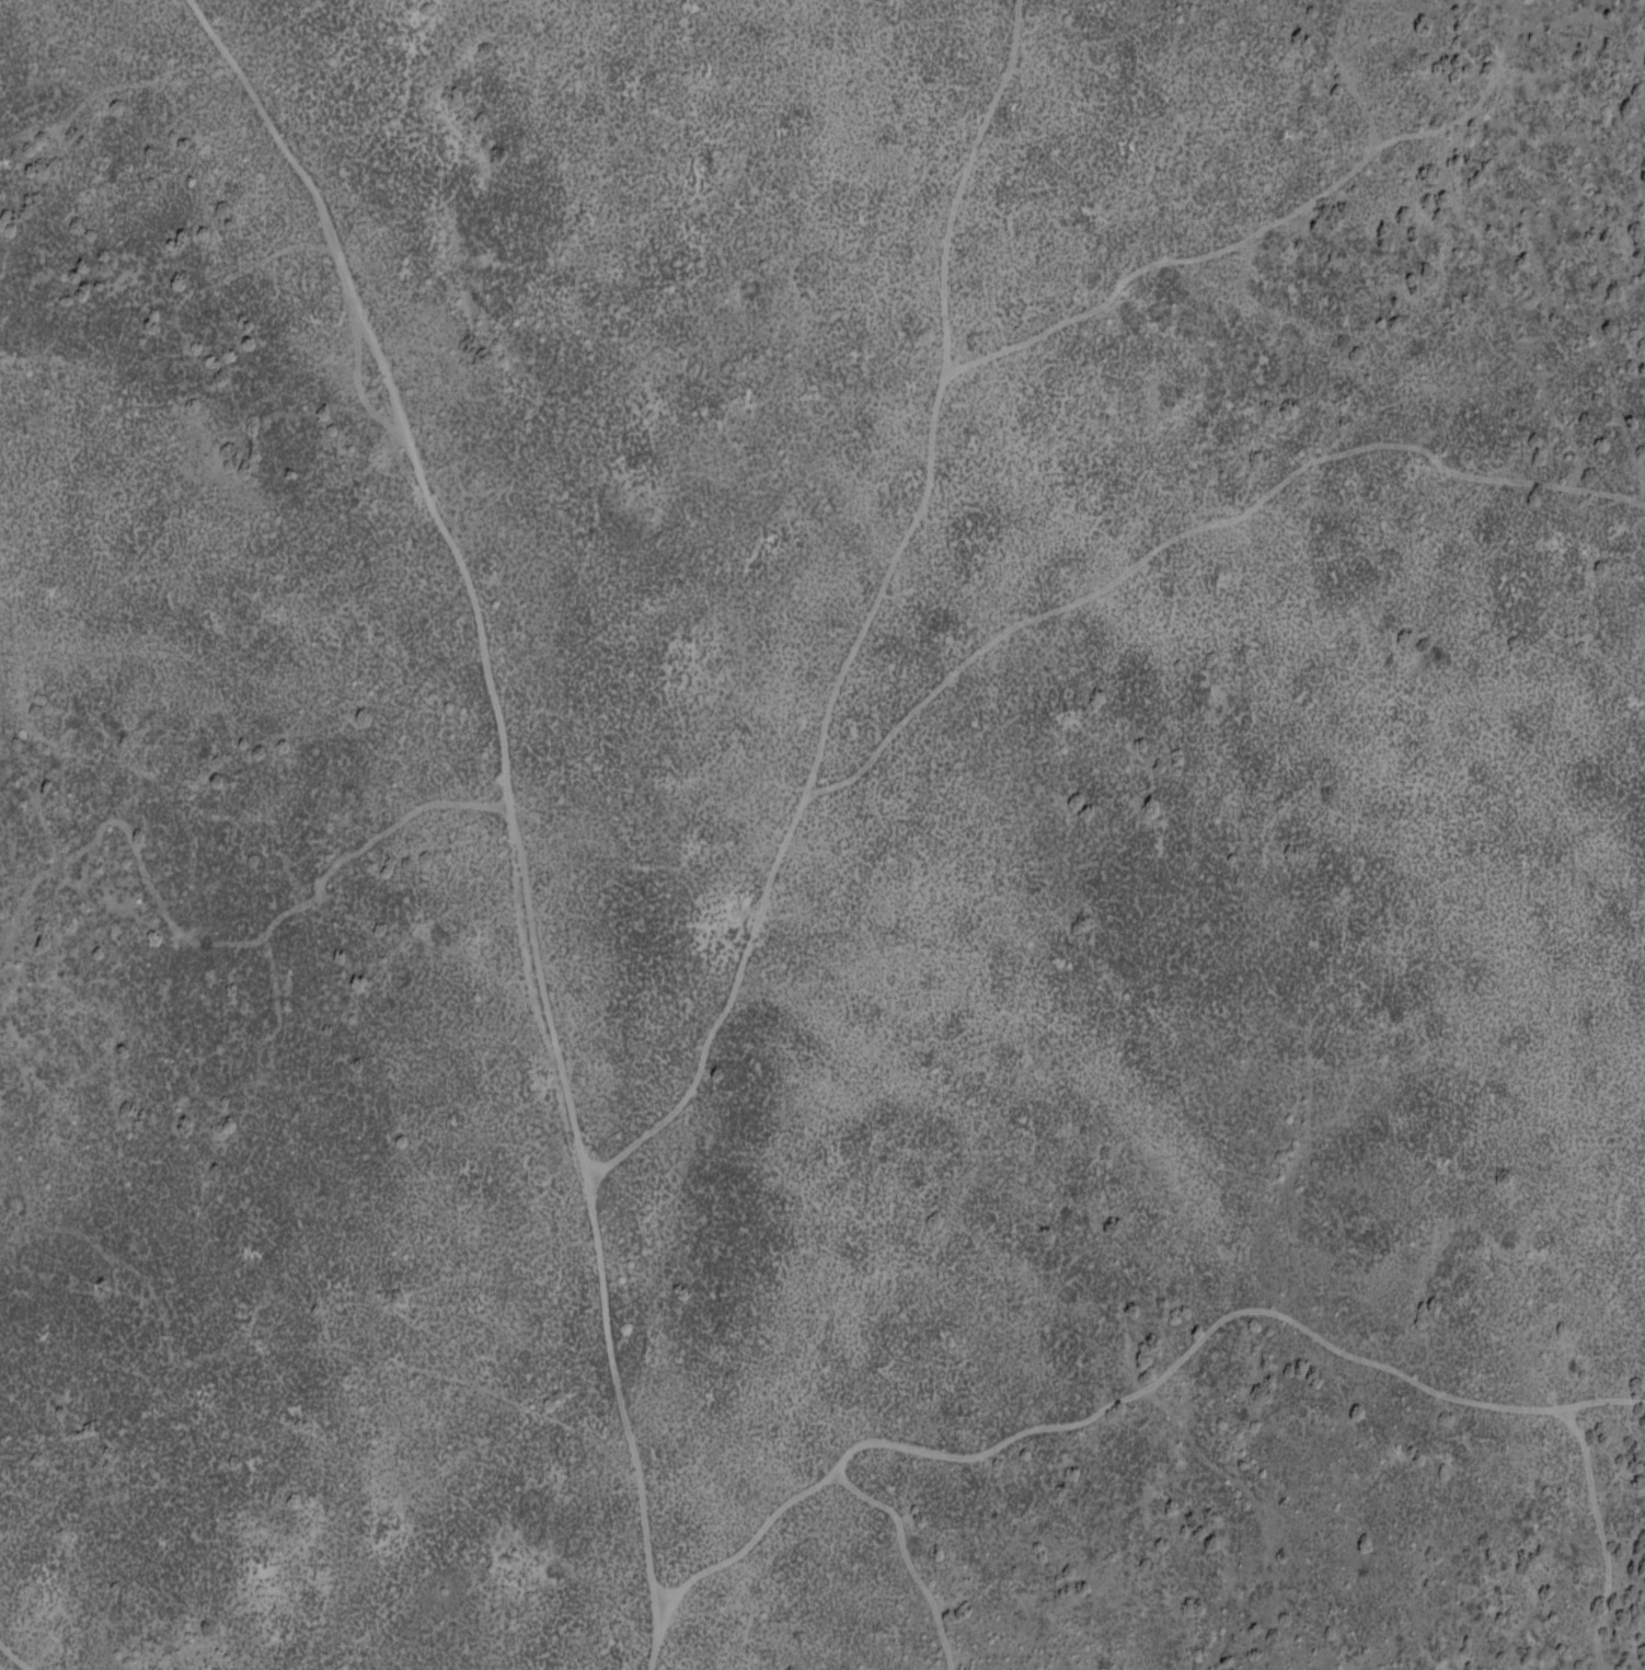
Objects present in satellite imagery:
road: (1000, 644)
road: (548, 818)
road: (49, 1625)

